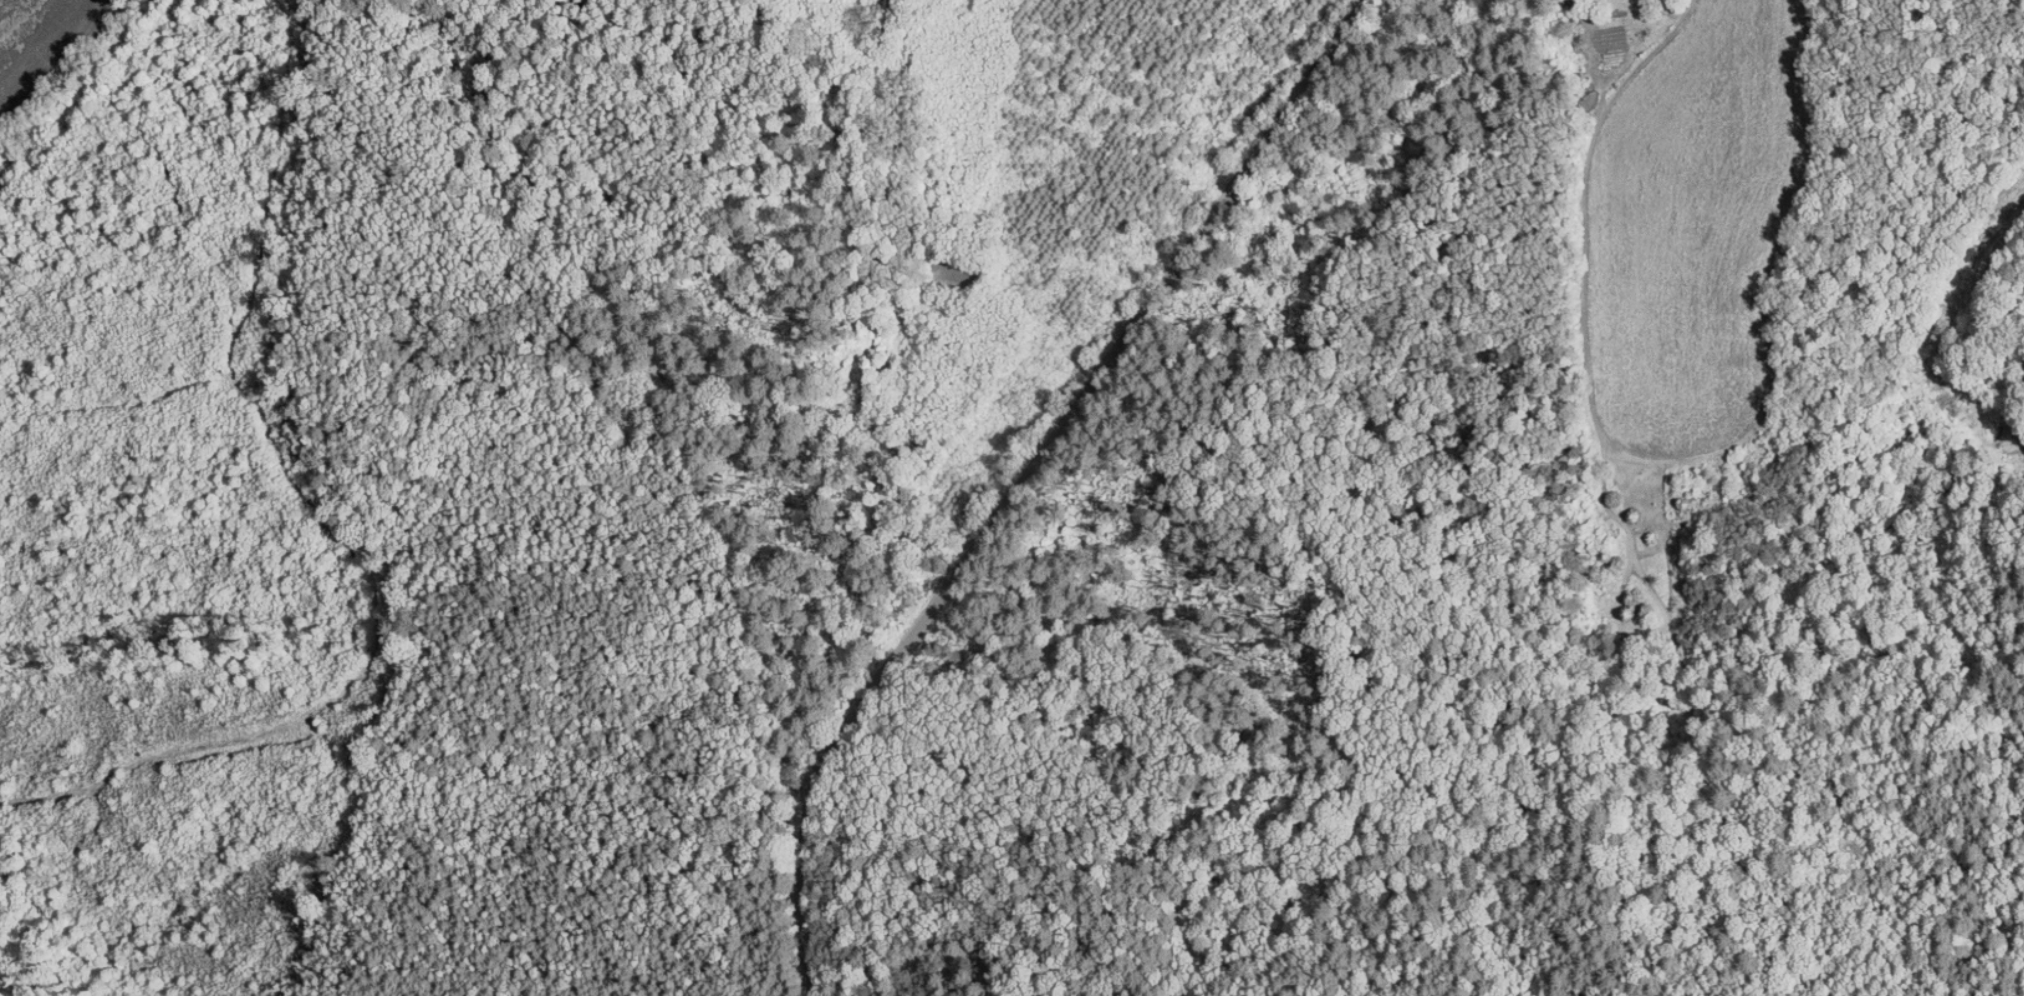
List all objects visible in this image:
road: (492, 144)
road: (599, 283)
road: (1027, 478)

